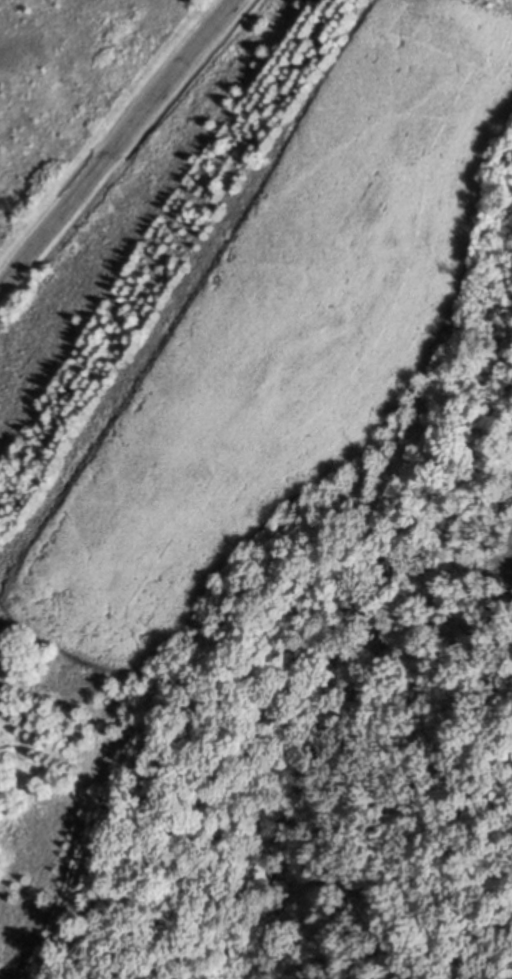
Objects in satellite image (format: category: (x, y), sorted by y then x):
road: (115, 144)

